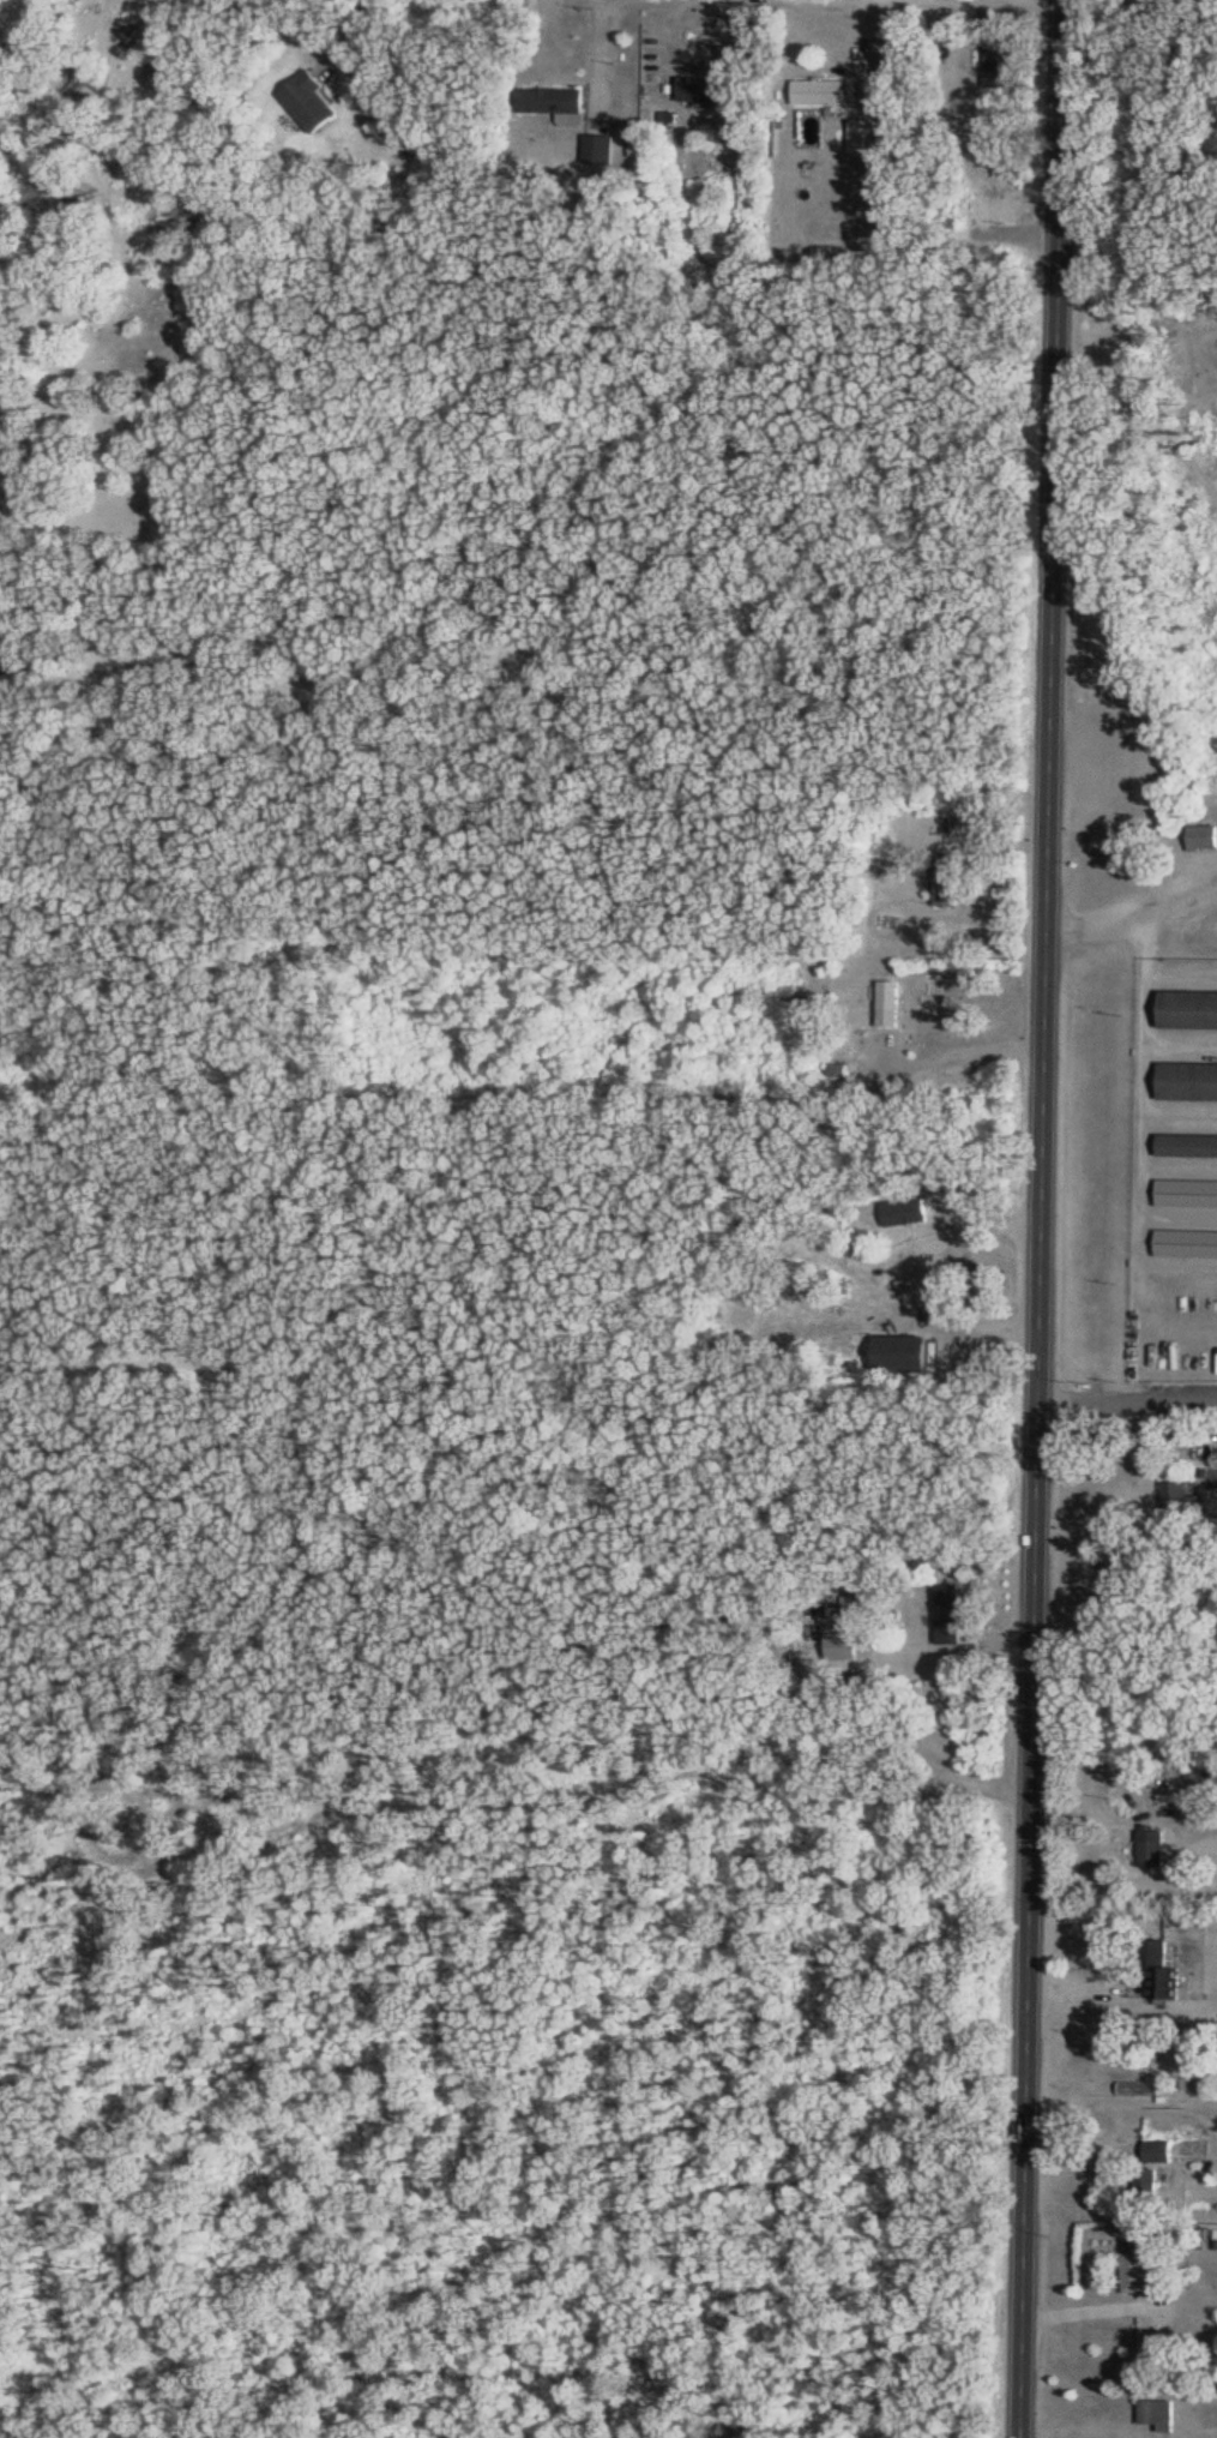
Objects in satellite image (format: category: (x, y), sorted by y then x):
road: (803, 0)
road: (360, 4)
building: (1000, 65)
building: (705, 89)
building: (823, 92)
building: (311, 100)
building: (553, 100)
building: (601, 149)
road: (1139, 377)
building: (1204, 836)
building: (947, 877)
road: (1185, 885)
road: (1113, 909)
building: (892, 1002)
building: (1189, 1009)
road: (969, 1038)
road: (1152, 1043)
building: (1189, 1081)
building: (1188, 1145)
building: (908, 1211)
road: (1046, 1219)
road: (922, 1279)
building: (904, 1353)
road: (1129, 1399)
building: (1181, 1497)
building: (1186, 1527)
building: (952, 1614)
building: (1153, 1849)
building: (1162, 1969)
building: (1162, 2151)
building: (1150, 2182)
building: (1138, 2272)
road: (1095, 2300)
building: (1158, 2414)

